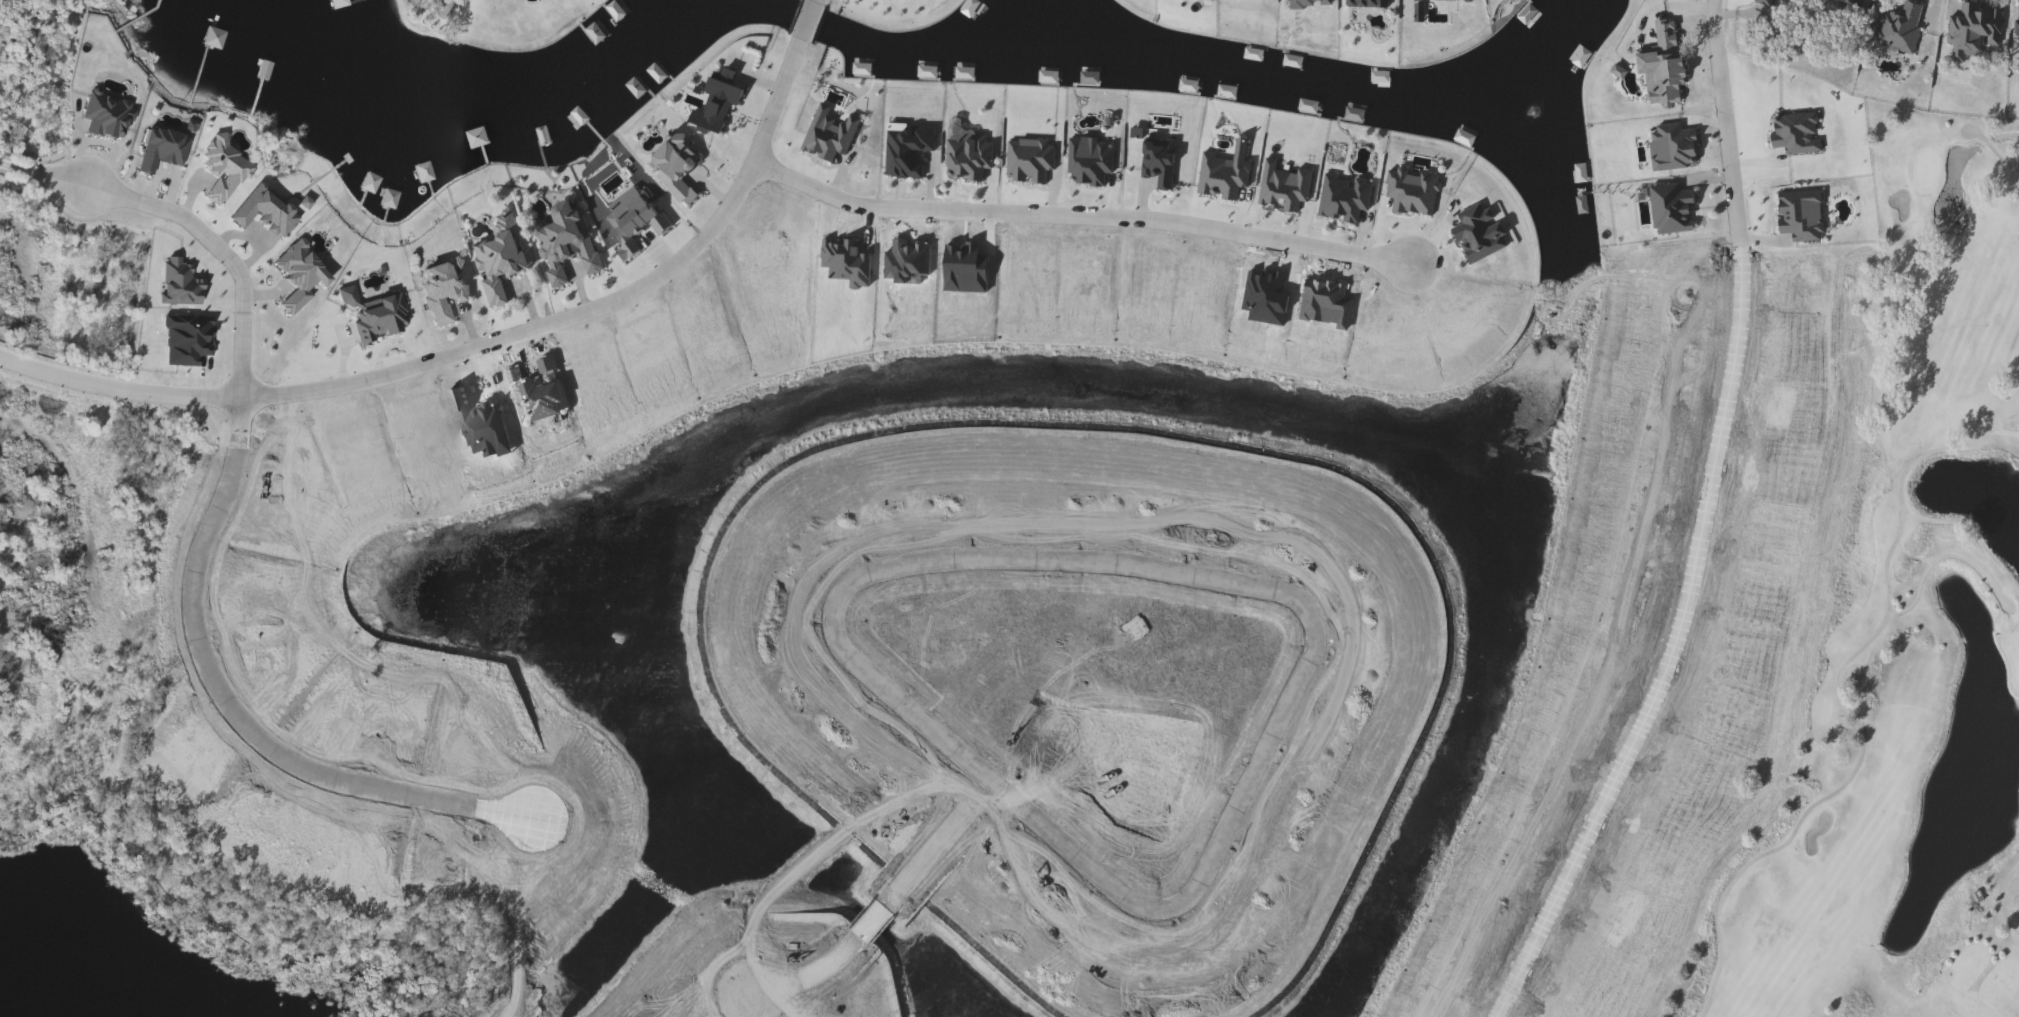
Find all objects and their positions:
building: (1418, 0)
road: (814, 1)
building: (1766, 2)
building: (1845, 2)
building: (337, 3)
building: (1305, 3)
building: (1362, 3)
road: (805, 23)
building: (1894, 26)
building: (2016, 26)
building: (1969, 29)
building: (1658, 68)
building: (1794, 133)
building: (476, 138)
building: (163, 146)
building: (1672, 150)
road: (2014, 165)
building: (668, 166)
building: (1668, 208)
road: (189, 216)
road: (1075, 216)
building: (1797, 217)
building: (1735, 231)
building: (561, 240)
building: (500, 256)
building: (444, 288)
road: (468, 348)
road: (1718, 452)
road: (1899, 500)
road: (1228, 582)
road: (1946, 635)
road: (1837, 675)
road: (229, 707)
road: (1761, 855)
road: (2001, 898)
road: (878, 915)
road: (1532, 948)

